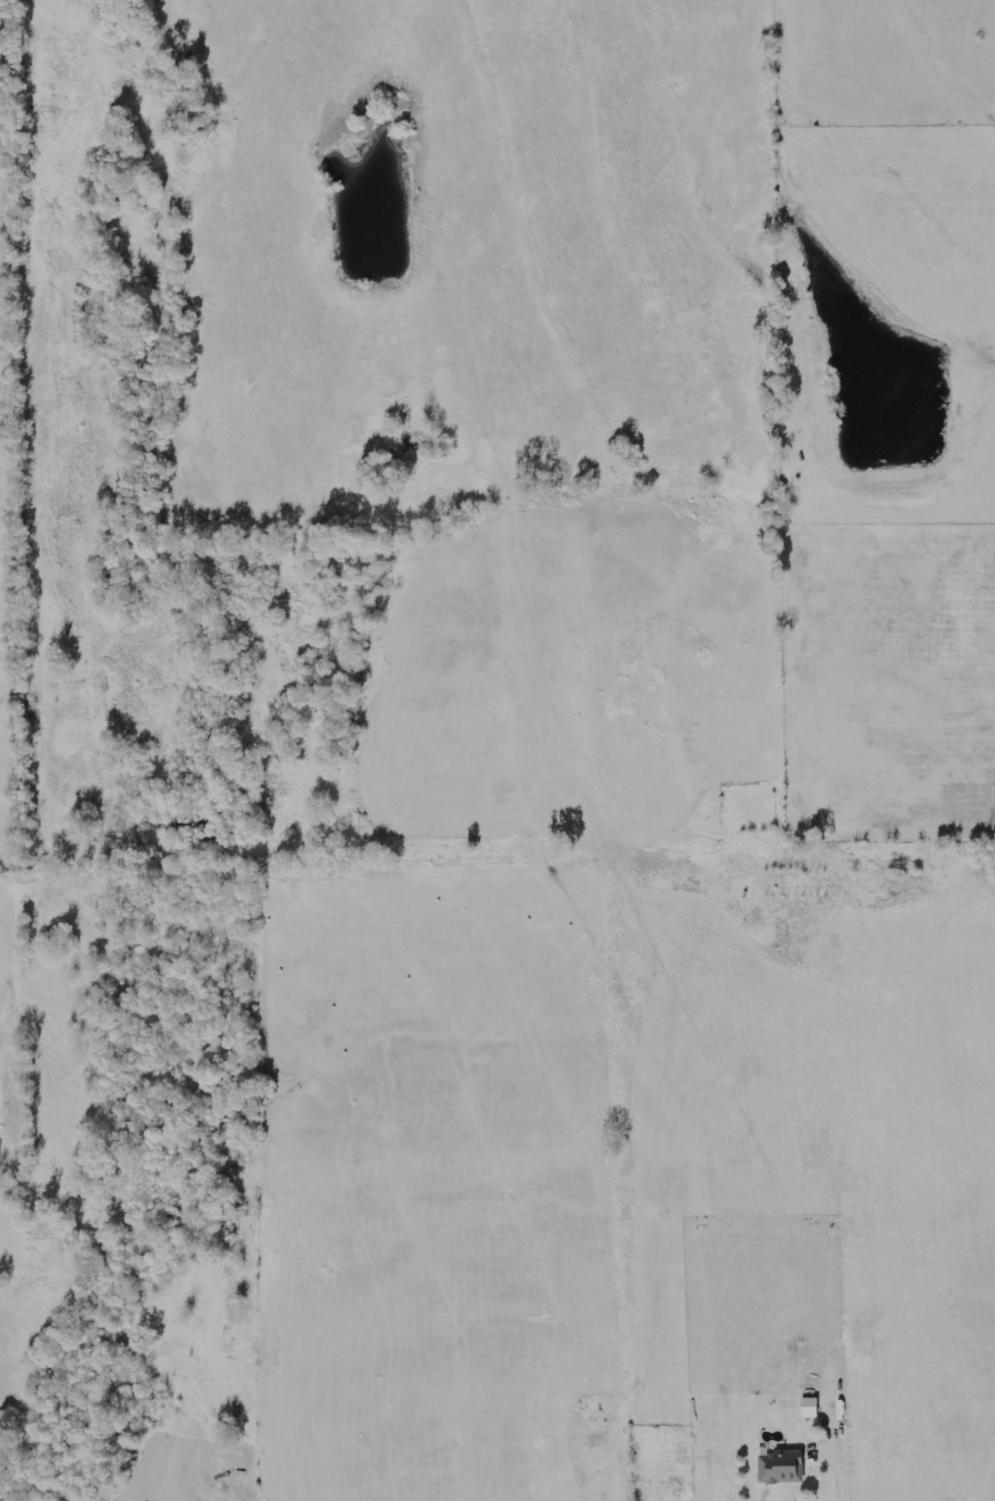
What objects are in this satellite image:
building: (781, 1467)

